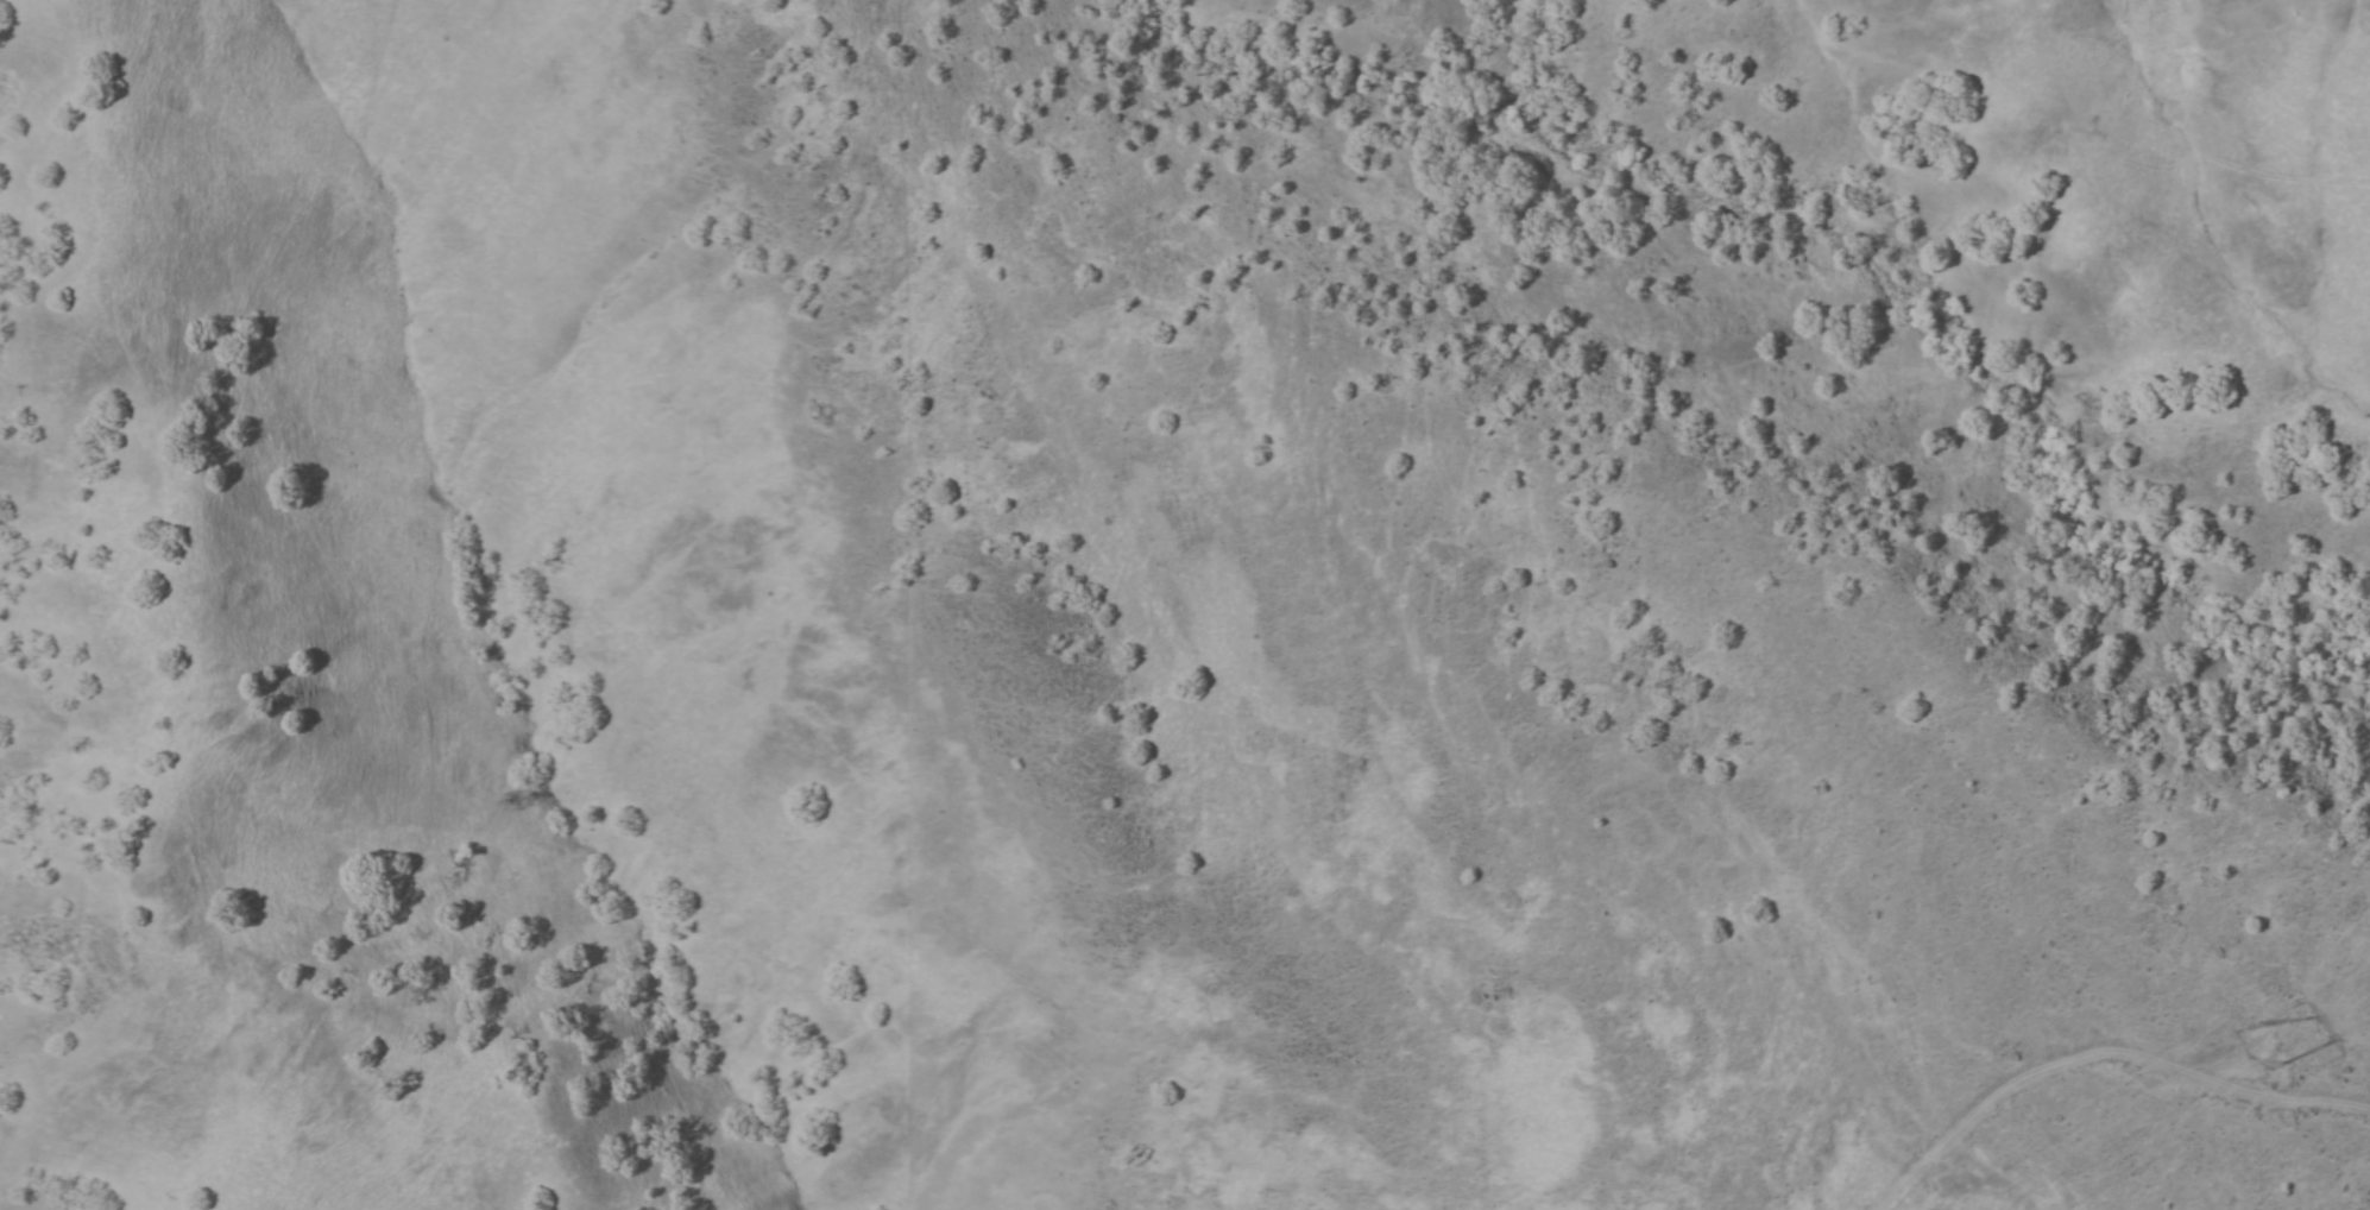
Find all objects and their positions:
power tower: (2267, 1039)

